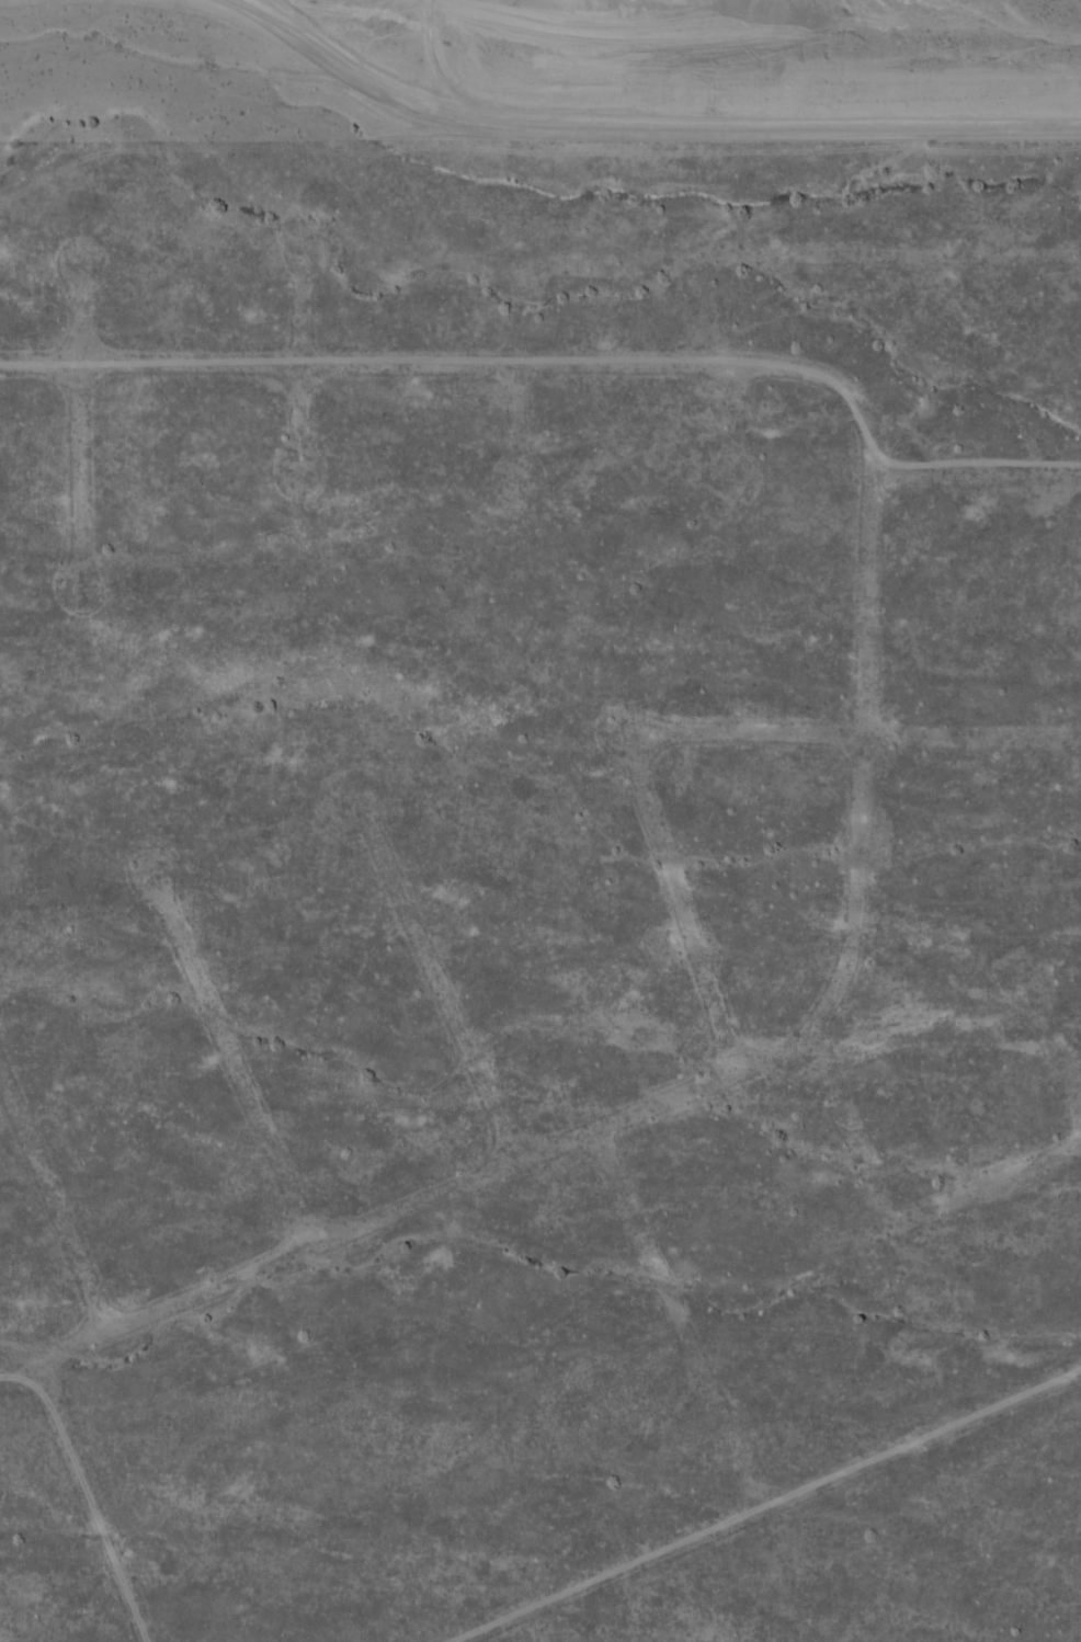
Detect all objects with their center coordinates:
road: (440, 66)
road: (655, 128)

